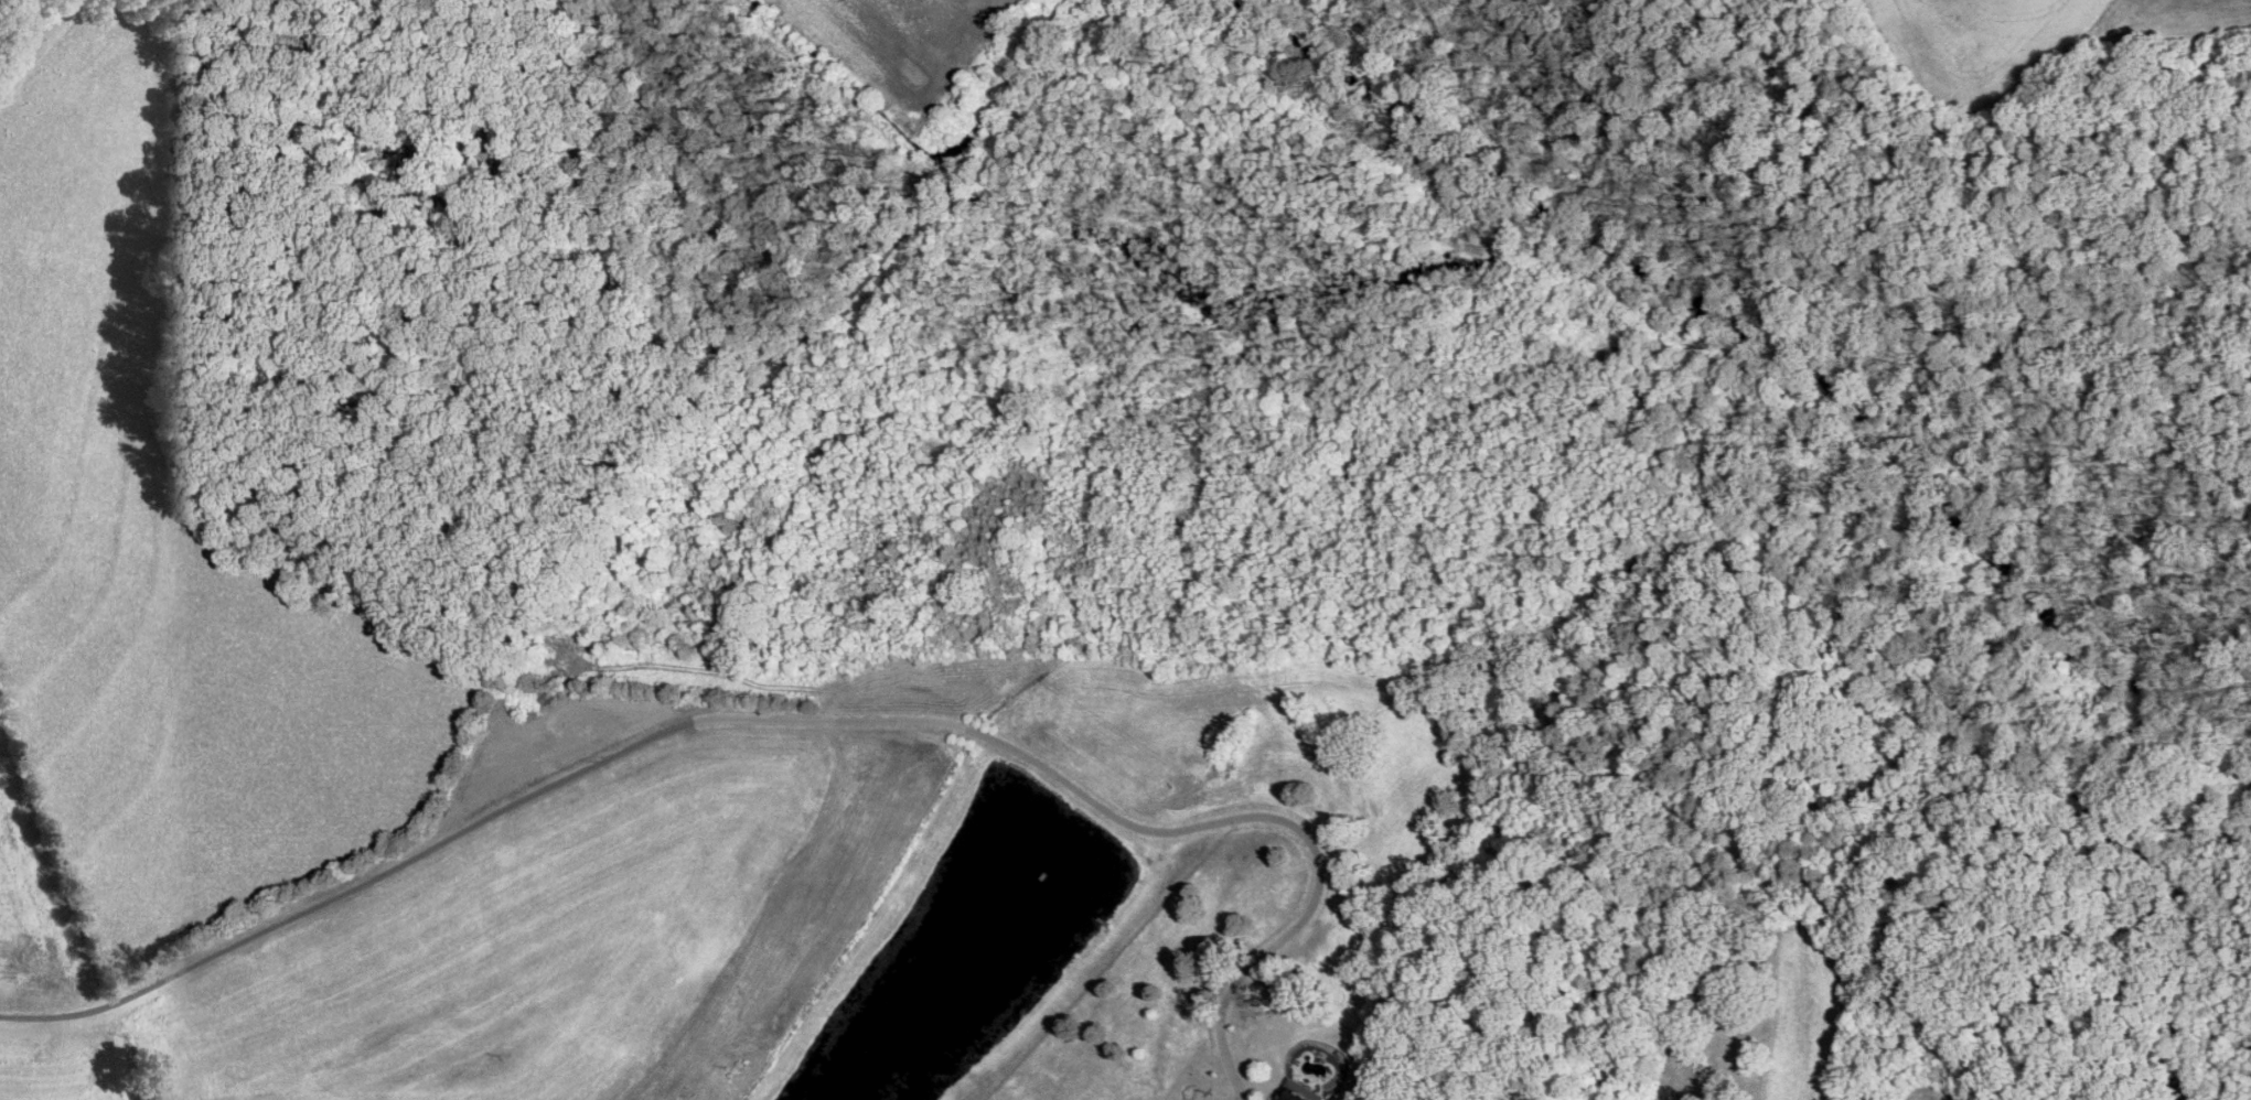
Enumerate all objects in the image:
road: (804, 723)
building: (1291, 1094)

